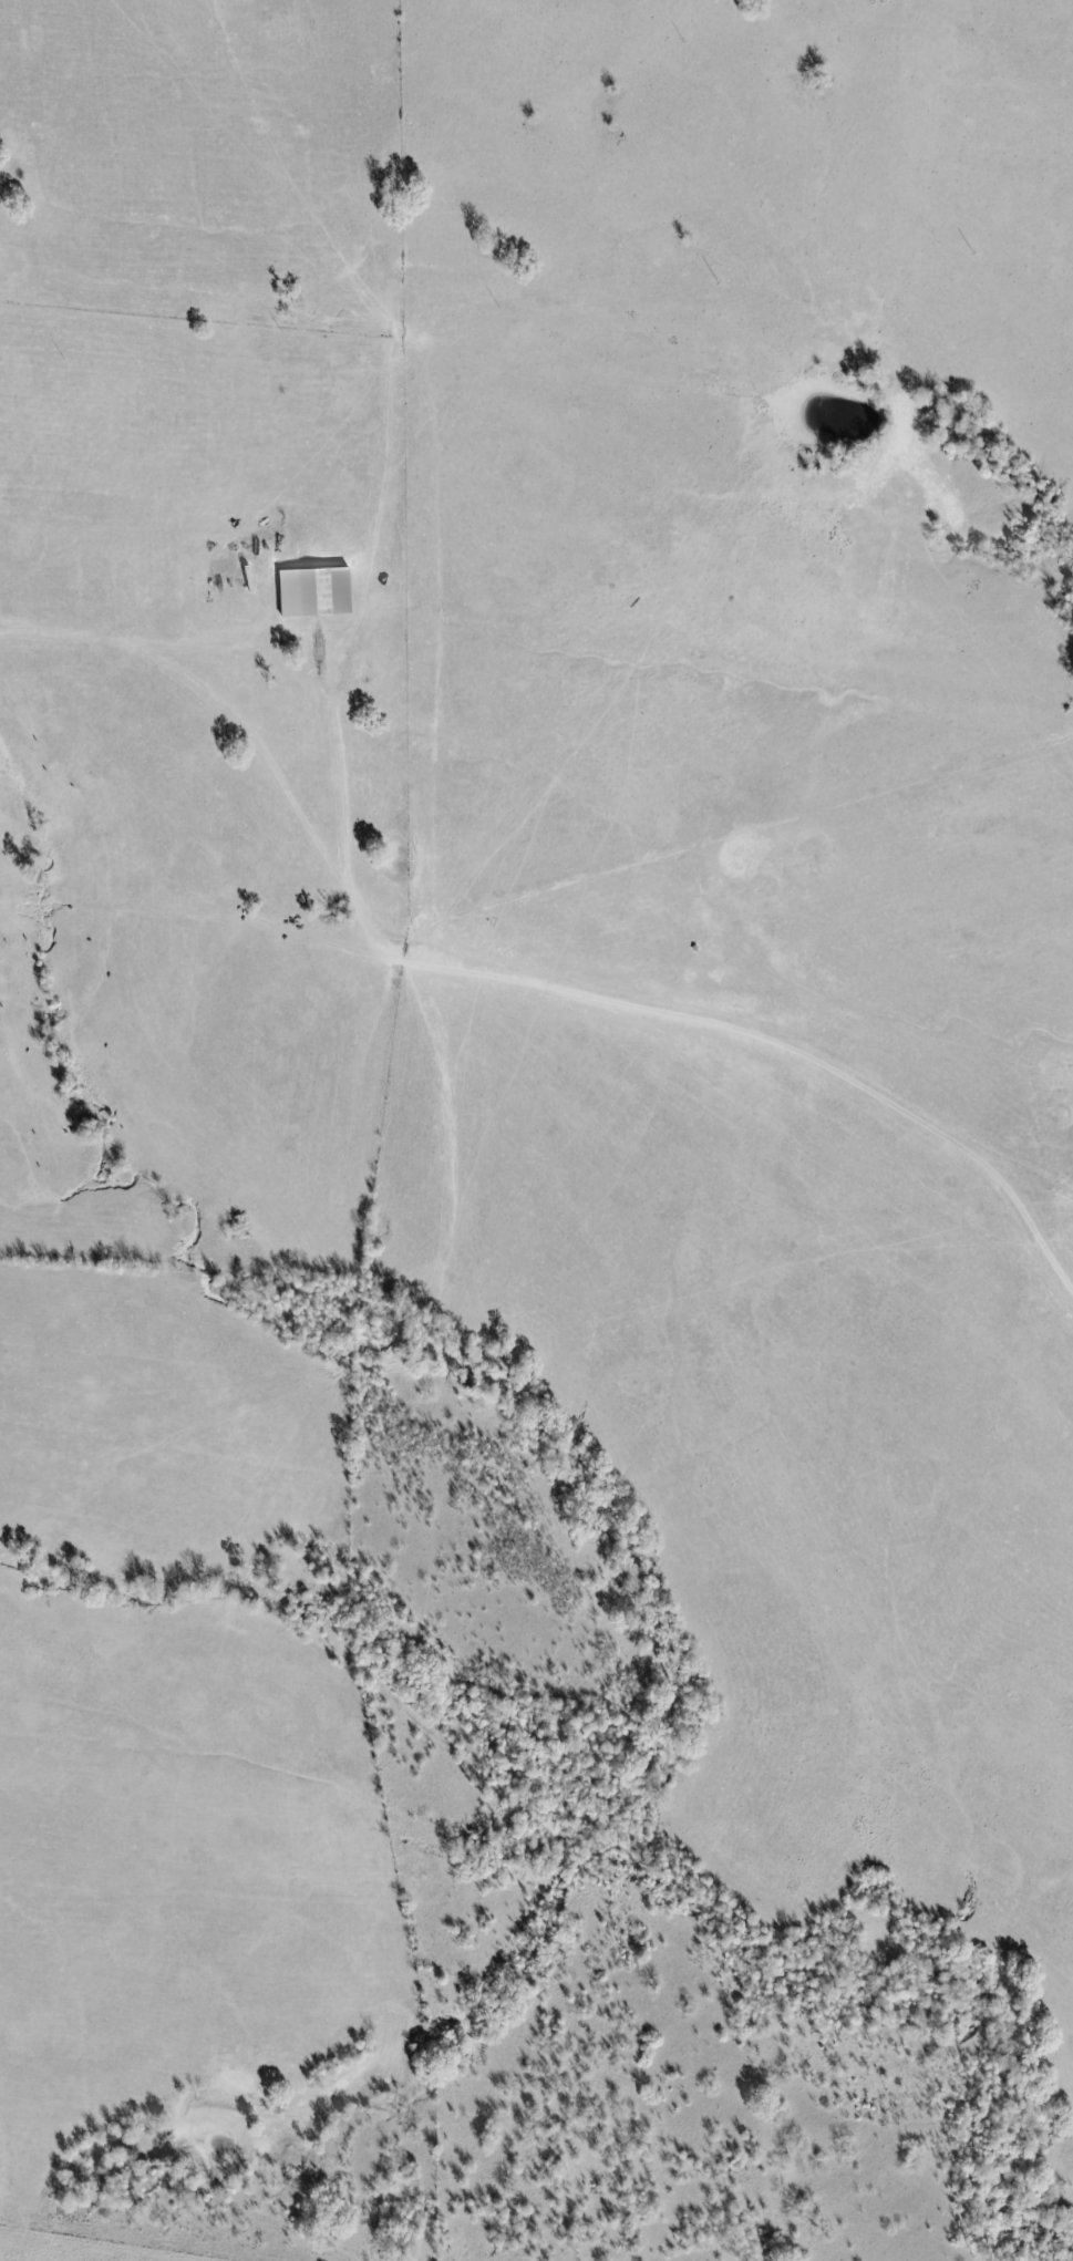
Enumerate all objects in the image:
building: (321, 593)
road: (515, 975)

